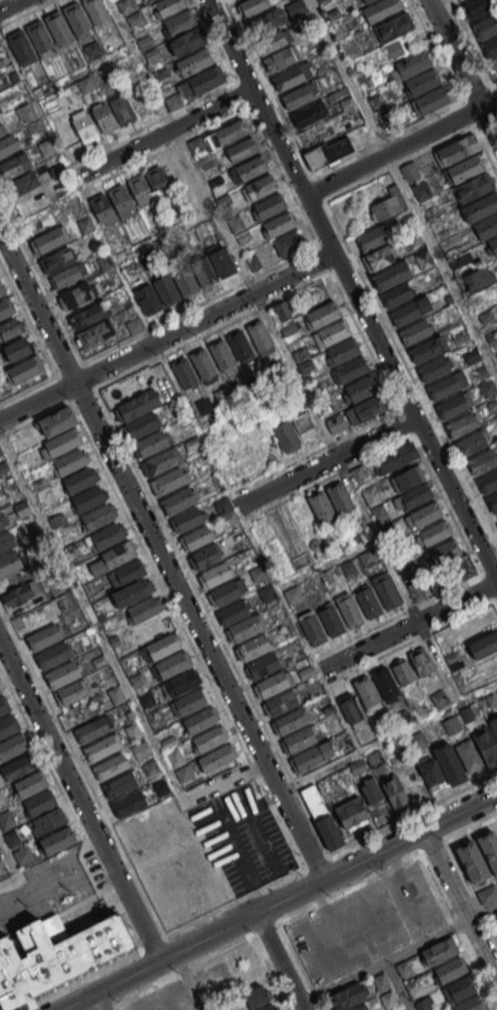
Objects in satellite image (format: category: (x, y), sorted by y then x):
building: (149, 0)
building: (366, 1)
road: (10, 5)
building: (124, 5)
building: (168, 6)
building: (252, 6)
building: (477, 7)
building: (295, 8)
building: (381, 9)
building: (97, 12)
building: (134, 19)
building: (78, 20)
building: (266, 20)
building: (180, 22)
building: (393, 26)
building: (59, 28)
building: (487, 34)
building: (41, 39)
building: (145, 41)
building: (187, 41)
building: (274, 41)
road: (473, 42)
building: (22, 48)
building: (93, 50)
building: (393, 50)
road: (453, 54)
building: (152, 56)
building: (280, 58)
building: (195, 62)
building: (411, 64)
building: (108, 72)
building: (162, 74)
building: (15, 76)
building: (289, 77)
building: (203, 81)
building: (423, 81)
building: (87, 84)
road: (496, 84)
building: (300, 95)
building: (140, 96)
building: (430, 101)
building: (174, 102)
building: (122, 108)
building: (1, 110)
building: (25, 112)
building: (309, 113)
building: (103, 117)
road: (256, 124)
building: (83, 125)
road: (488, 125)
building: (3, 129)
building: (229, 132)
road: (160, 135)
building: (8, 145)
building: (324, 145)
road: (399, 147)
building: (240, 150)
building: (457, 150)
building: (12, 167)
building: (209, 169)
building: (248, 169)
building: (58, 171)
building: (158, 181)
building: (23, 183)
road: (404, 184)
building: (258, 187)
building: (473, 188)
building: (140, 190)
building: (121, 201)
building: (388, 205)
building: (268, 206)
building: (101, 208)
building: (277, 224)
building: (486, 228)
building: (372, 237)
building: (49, 239)
building: (288, 243)
building: (493, 245)
building: (380, 257)
road: (323, 258)
building: (58, 259)
building: (221, 259)
building: (423, 259)
building: (203, 271)
building: (391, 275)
building: (65, 276)
building: (478, 278)
road: (42, 280)
building: (184, 280)
building: (166, 289)
building: (1, 290)
road: (350, 290)
building: (77, 295)
building: (396, 295)
building: (147, 299)
road: (198, 304)
building: (6, 307)
building: (282, 310)
building: (406, 313)
building: (322, 314)
building: (87, 316)
road: (29, 320)
building: (135, 325)
building: (10, 328)
building: (288, 328)
road: (211, 330)
building: (416, 331)
building: (95, 333)
building: (331, 333)
building: (259, 335)
road: (166, 337)
building: (240, 345)
building: (427, 348)
building: (17, 349)
building: (341, 351)
road: (286, 352)
building: (221, 354)
building: (303, 362)
building: (202, 363)
building: (435, 368)
building: (25, 369)
road: (70, 369)
building: (350, 370)
building: (183, 372)
road: (89, 376)
building: (236, 384)
building: (447, 385)
road: (29, 388)
road: (63, 388)
building: (359, 389)
road: (83, 395)
building: (204, 405)
building: (454, 405)
building: (133, 406)
building: (364, 410)
road: (36, 418)
building: (56, 420)
building: (336, 423)
building: (461, 425)
building: (139, 426)
building: (307, 426)
building: (286, 435)
road: (413, 437)
building: (63, 442)
building: (149, 443)
building: (470, 443)
crop: (238, 445)
road: (316, 450)
building: (394, 457)
building: (69, 461)
road: (327, 461)
building: (482, 461)
building: (159, 462)
road: (330, 477)
building: (407, 478)
building: (79, 480)
building: (168, 481)
building: (487, 481)
building: (416, 495)
building: (371, 496)
building: (339, 497)
building: (87, 498)
building: (177, 501)
building: (492, 502)
building: (321, 507)
building: (379, 512)
building: (426, 514)
building: (97, 516)
building: (496, 517)
building: (186, 519)
building: (2, 520)
building: (434, 532)
building: (106, 535)
building: (195, 538)
building: (357, 539)
building: (7, 541)
building: (338, 548)
building: (444, 551)
road: (163, 552)
building: (117, 554)
building: (204, 557)
building: (368, 558)
building: (10, 563)
building: (338, 569)
building: (350, 569)
building: (126, 573)
building: (214, 574)
building: (260, 574)
building: (451, 574)
building: (329, 578)
building: (385, 590)
building: (417, 592)
building: (130, 593)
building: (224, 593)
building: (20, 594)
building: (269, 594)
road: (166, 595)
building: (295, 595)
building: (368, 601)
building: (142, 609)
building: (349, 609)
building: (231, 613)
road: (398, 615)
road: (212, 620)
building: (331, 620)
road: (410, 626)
building: (311, 627)
building: (245, 628)
building: (43, 637)
road: (411, 640)
building: (483, 645)
building: (161, 646)
building: (253, 646)
building: (52, 656)
road: (113, 658)
building: (454, 660)
building: (421, 661)
building: (171, 664)
building: (263, 665)
building: (402, 671)
building: (308, 672)
building: (62, 675)
building: (180, 683)
building: (272, 683)
building: (385, 683)
building: (0, 690)
building: (71, 692)
building: (367, 693)
building: (189, 701)
building: (281, 702)
building: (3, 705)
building: (352, 711)
building: (199, 720)
building: (290, 720)
building: (8, 725)
building: (451, 725)
building: (90, 730)
building: (208, 739)
building: (299, 739)
road: (390, 739)
building: (418, 741)
building: (487, 742)
building: (12, 745)
building: (100, 748)
building: (141, 750)
building: (469, 756)
building: (175, 757)
building: (216, 758)
building: (309, 758)
building: (449, 763)
building: (18, 766)
building: (109, 766)
road: (83, 770)
building: (430, 771)
building: (184, 773)
building: (30, 784)
building: (119, 785)
building: (371, 791)
building: (395, 791)
road: (271, 795)
road: (80, 797)
building: (1, 798)
road: (268, 798)
building: (39, 802)
building: (127, 804)
building: (350, 811)
road: (411, 814)
road: (72, 815)
building: (48, 820)
road: (472, 829)
building: (329, 832)
road: (228, 833)
road: (201, 834)
road: (287, 836)
building: (57, 840)
parking lot: (248, 840)
road: (262, 841)
building: (489, 849)
building: (23, 855)
road: (425, 860)
building: (472, 861)
road: (316, 862)
parking lot: (95, 868)
road: (466, 879)
road: (11, 883)
building: (487, 894)
road: (263, 897)
road: (282, 901)
road: (233, 902)
road: (459, 906)
road: (481, 912)
building: (496, 913)
road: (152, 943)
building: (439, 950)
road: (294, 952)
road: (220, 953)
building: (56, 954)
road: (382, 960)
road: (278, 962)
building: (403, 968)
building: (450, 969)
road: (82, 978)
road: (188, 981)
building: (381, 981)
road: (396, 985)
building: (413, 985)
building: (458, 989)
building: (179, 994)
building: (347, 996)
building: (255, 997)
building: (388, 999)
road: (95, 1004)
building: (423, 1004)
building: (470, 1004)
building: (133, 1005)
road: (114, 1007)
building: (265, 1007)
building: (360, 1007)

